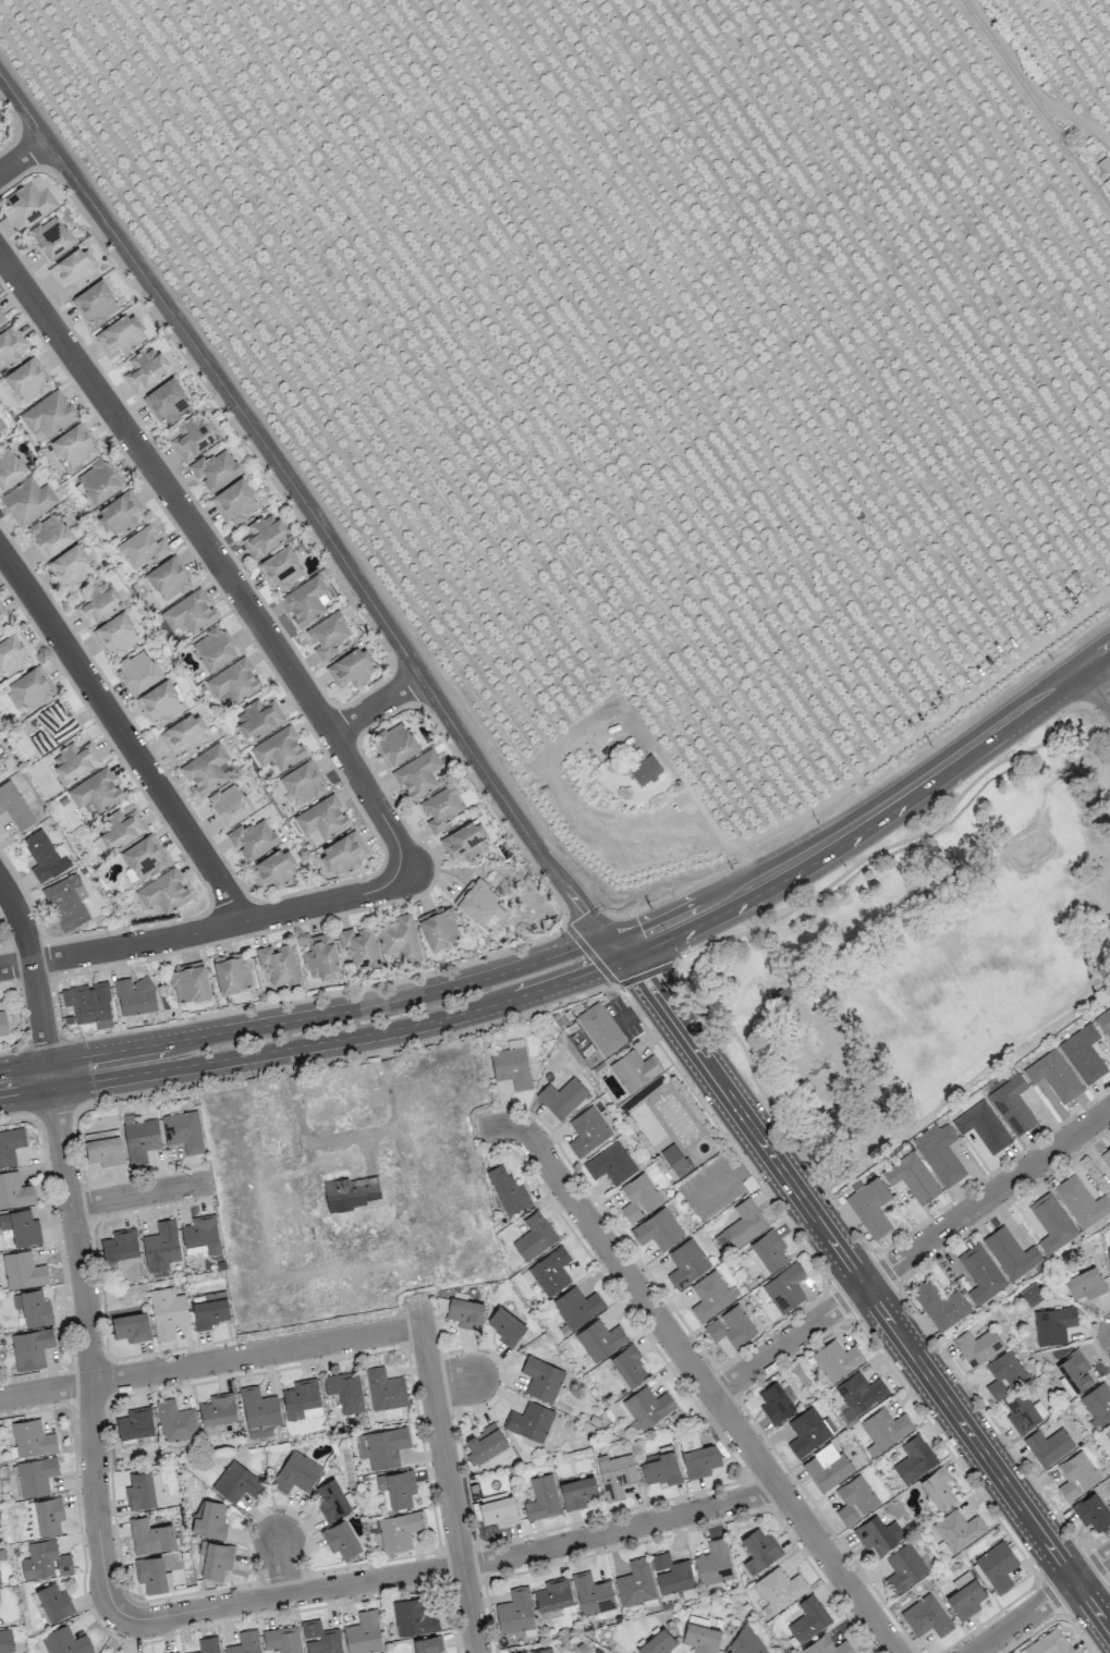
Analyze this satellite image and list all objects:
road: (1028, 83)
building: (0, 140)
road: (24, 159)
building: (1108, 181)
building: (28, 204)
building: (52, 237)
building: (73, 269)
building: (95, 304)
building: (0, 325)
building: (120, 335)
building: (10, 346)
building: (145, 369)
building: (26, 381)
building: (167, 402)
building: (48, 415)
building: (195, 437)
building: (0, 439)
building: (73, 446)
building: (10, 468)
building: (215, 469)
building: (98, 481)
building: (27, 501)
building: (235, 502)
road: (308, 509)
building: (118, 514)
building: (50, 535)
building: (264, 535)
building: (143, 547)
road: (218, 558)
building: (71, 567)
building: (281, 567)
building: (168, 579)
building: (304, 600)
building: (96, 603)
building: (190, 612)
building: (2, 613)
building: (0, 628)
building: (117, 634)
building: (327, 635)
building: (214, 649)
road: (1096, 654)
building: (12, 656)
building: (352, 668)
building: (137, 672)
building: (234, 681)
road: (1096, 685)
building: (31, 689)
building: (161, 702)
road: (378, 708)
building: (257, 718)
building: (52, 727)
road: (125, 733)
building: (185, 734)
building: (397, 743)
building: (279, 748)
building: (74, 760)
road: (1061, 767)
building: (205, 770)
building: (645, 770)
building: (417, 773)
building: (302, 783)
building: (96, 791)
building: (14, 806)
building: (230, 806)
building: (440, 809)
building: (321, 819)
road: (857, 820)
road: (717, 828)
building: (121, 829)
building: (252, 838)
building: (465, 841)
park: (1028, 847)
building: (342, 854)
building: (44, 857)
building: (141, 858)
building: (275, 869)
building: (163, 892)
building: (477, 901)
building: (66, 902)
road: (791, 909)
traffic signals: (585, 913)
building: (439, 927)
road: (209, 931)
building: (400, 938)
traffic signals: (642, 939)
building: (358, 946)
park: (923, 956)
building: (278, 964)
road: (33, 968)
traffic signals: (598, 969)
building: (233, 972)
traffic signals: (645, 979)
building: (188, 982)
building: (780, 994)
building: (135, 995)
building: (89, 1003)
building: (1108, 1012)
road: (310, 1017)
building: (1102, 1021)
building: (2, 1024)
building: (602, 1030)
road: (316, 1043)
building: (1083, 1053)
building: (511, 1066)
building: (634, 1069)
road: (49, 1075)
building: (1053, 1075)
building: (561, 1098)
building: (1012, 1104)
building: (983, 1126)
building: (183, 1131)
building: (587, 1131)
building: (141, 1139)
building: (10, 1146)
building: (103, 1148)
building: (939, 1153)
building: (1107, 1153)
road: (342, 1158)
building: (675, 1160)
building: (610, 1164)
building: (912, 1177)
building: (14, 1190)
building: (508, 1190)
building: (1109, 1190)
building: (352, 1193)
road: (141, 1195)
building: (638, 1198)
building: (1081, 1201)
building: (870, 1207)
building: (1052, 1224)
building: (741, 1226)
building: (20, 1227)
building: (657, 1229)
building: (200, 1235)
road: (406, 1236)
building: (534, 1236)
building: (120, 1245)
building: (160, 1246)
building: (1109, 1251)
building: (1010, 1252)
building: (766, 1253)
road: (911, 1253)
building: (686, 1262)
building: (22, 1271)
building: (550, 1271)
building: (980, 1273)
building: (1085, 1284)
building: (784, 1287)
road: (865, 1287)
building: (1032, 1295)
building: (709, 1296)
building: (940, 1305)
building: (576, 1307)
building: (32, 1308)
building: (210, 1310)
building: (167, 1312)
building: (465, 1313)
building: (1053, 1324)
building: (131, 1326)
building: (505, 1326)
building: (731, 1326)
building: (599, 1339)
building: (977, 1346)
building: (31, 1348)
road: (92, 1354)
building: (835, 1360)
road: (210, 1362)
building: (629, 1366)
road: (695, 1372)
building: (1073, 1373)
building: (1003, 1374)
building: (541, 1379)
road: (453, 1383)
building: (385, 1389)
building: (345, 1391)
building: (858, 1394)
building: (774, 1403)
building: (1096, 1405)
building: (647, 1407)
building: (218, 1409)
building: (259, 1411)
building: (1023, 1412)
building: (175, 1421)
building: (529, 1421)
building: (134, 1423)
building: (883, 1430)
building: (1108, 1431)
building: (807, 1432)
building: (32, 1438)
building: (484, 1444)
building: (1048, 1445)
building: (381, 1447)
building: (914, 1459)
building: (699, 1460)
building: (826, 1467)
building: (660, 1470)
building: (295, 1473)
building: (35, 1476)
building: (1076, 1476)
building: (615, 1477)
building: (236, 1483)
building: (938, 1487)
building: (395, 1489)
road: (450, 1489)
building: (139, 1491)
building: (577, 1493)
building: (542, 1497)
building: (330, 1499)
building: (854, 1499)
building: (499, 1509)
building: (1091, 1513)
building: (48, 1515)
building: (210, 1520)
building: (398, 1531)
building: (878, 1535)
building: (150, 1536)
building: (340, 1539)
building: (759, 1551)
building: (216, 1559)
building: (45, 1560)
building: (713, 1563)
building: (997, 1566)
road: (455, 1567)
building: (903, 1567)
road: (283, 1568)
building: (671, 1574)
building: (153, 1575)
building: (635, 1582)
building: (780, 1589)
building: (591, 1593)
building: (553, 1594)
building: (965, 1595)
building: (53, 1602)
road: (1041, 1603)
building: (514, 1612)
building: (926, 1616)
building: (413, 1618)
building: (808, 1619)
building: (363, 1633)
building: (320, 1638)
building: (700, 1638)
building: (282, 1639)
building: (5, 1641)
building: (65, 1642)
building: (245, 1643)
building: (657, 1643)
building: (1049, 1643)
building: (426, 1644)
building: (743, 1644)
building: (207, 1645)
building: (827, 1646)
building: (537, 1651)

